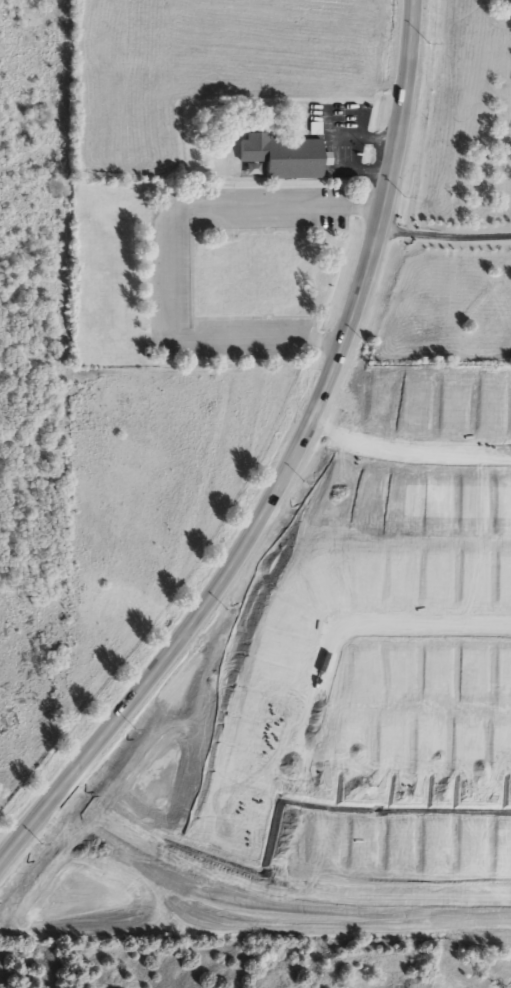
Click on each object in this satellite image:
building: (284, 158)
road: (447, 232)
road: (172, 249)
road: (409, 452)
road: (292, 469)
road: (399, 621)
building: (469, 622)
road: (245, 759)
road: (372, 809)
road: (263, 910)

